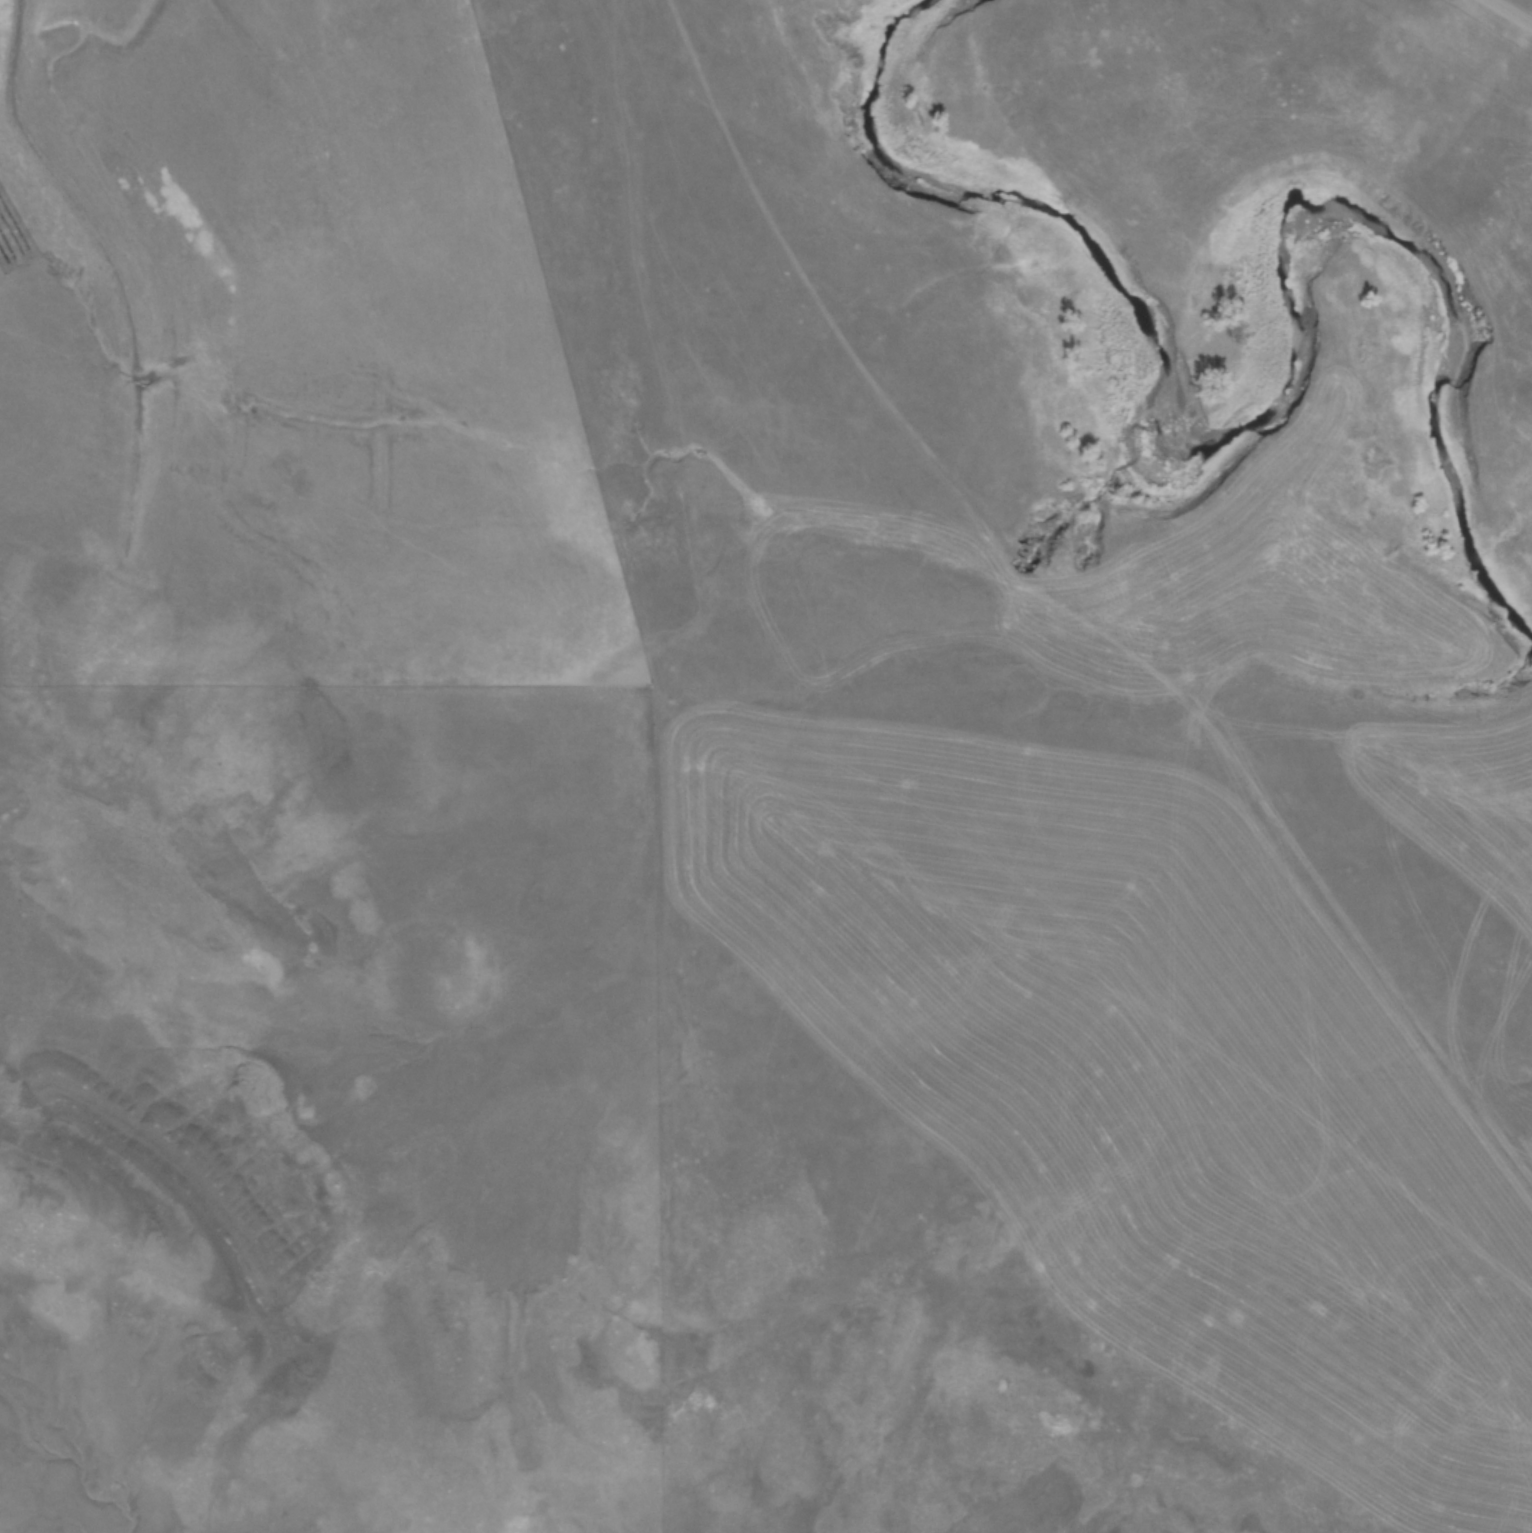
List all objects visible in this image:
road: (1510, 12)

